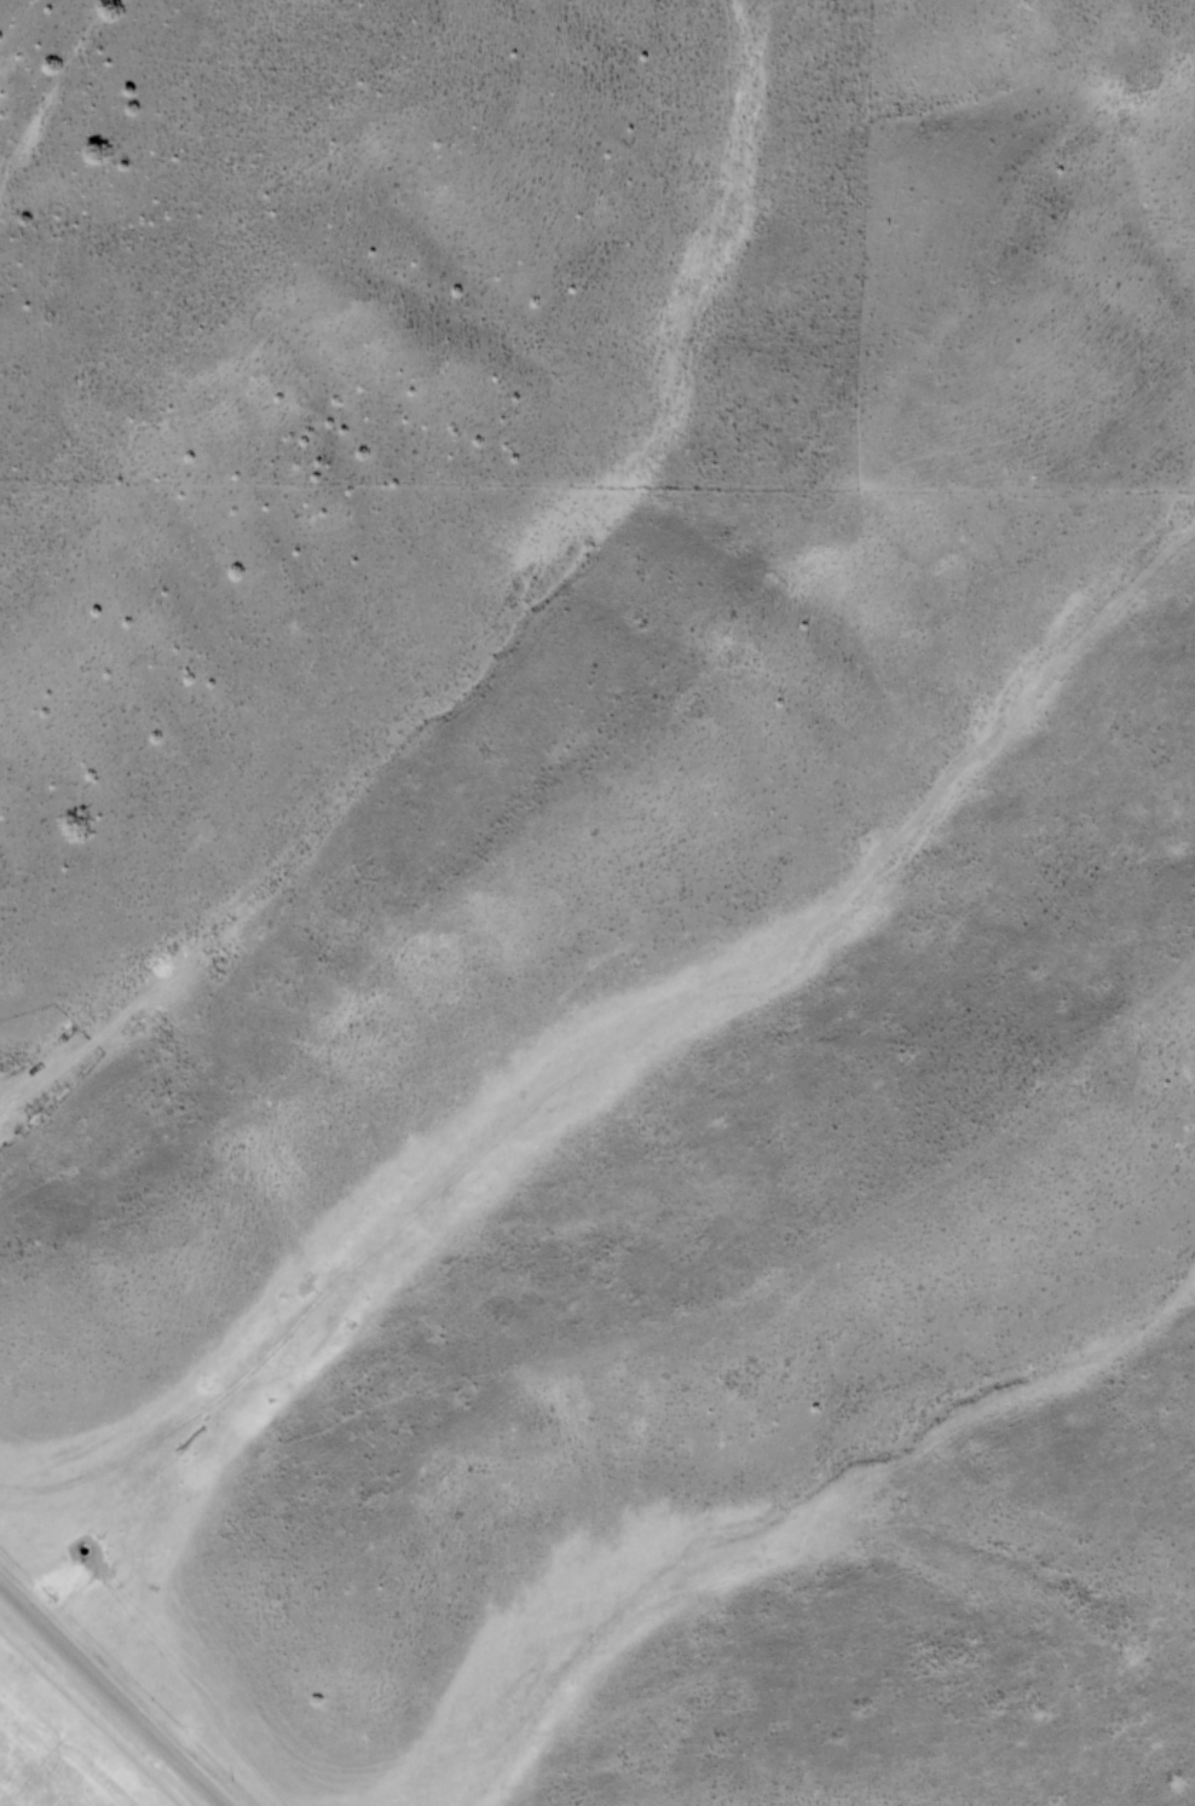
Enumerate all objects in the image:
road: (111, 1696)

